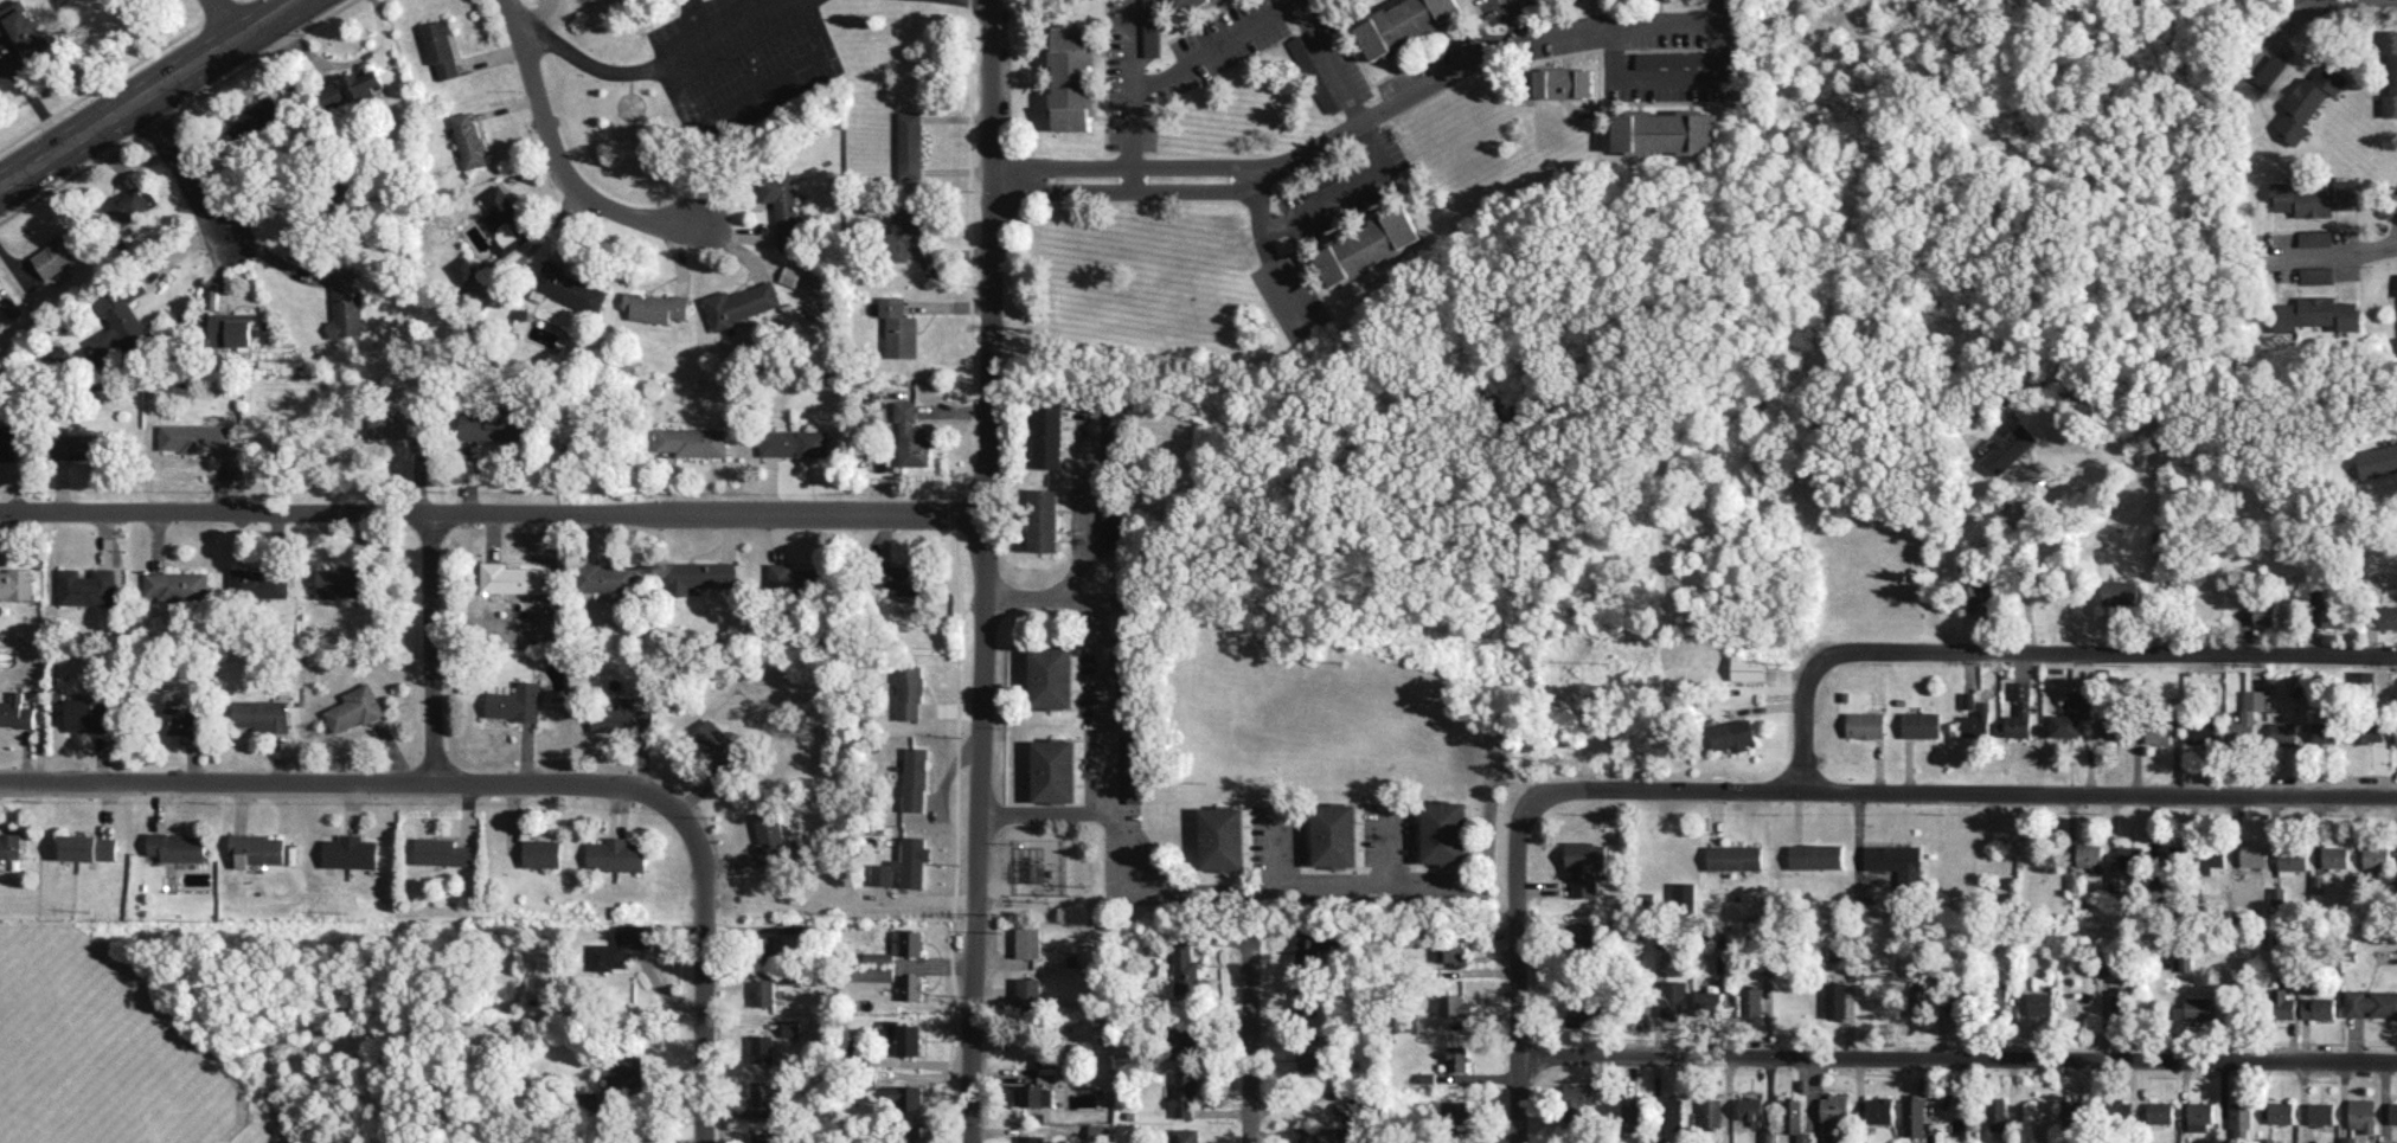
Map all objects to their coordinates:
building: (1193, 2)
road: (1718, 11)
road: (1276, 12)
road: (697, 14)
road: (222, 17)
road: (1517, 21)
building: (1405, 23)
building: (23, 27)
building: (1151, 27)
building: (440, 46)
road: (2267, 46)
building: (1668, 59)
building: (2269, 70)
building: (2390, 70)
road: (635, 72)
building: (1313, 72)
building: (1072, 77)
road: (1448, 79)
building: (1563, 82)
road: (142, 88)
building: (350, 88)
road: (1132, 91)
road: (34, 98)
building: (2307, 101)
building: (255, 118)
building: (1666, 130)
building: (469, 139)
building: (910, 143)
road: (556, 153)
road: (181, 167)
road: (1344, 188)
building: (781, 194)
building: (2314, 198)
building: (130, 206)
building: (505, 220)
building: (905, 231)
building: (2315, 237)
building: (789, 238)
building: (1367, 245)
building: (60, 251)
road: (1273, 252)
road: (2331, 252)
building: (463, 269)
building: (2316, 274)
building: (571, 287)
building: (346, 303)
building: (742, 303)
building: (0, 304)
building: (655, 306)
building: (2318, 313)
building: (121, 326)
building: (898, 327)
building: (231, 328)
building: (59, 355)
building: (493, 424)
building: (1115, 429)
building: (911, 435)
building: (193, 436)
building: (1047, 436)
building: (692, 441)
building: (794, 442)
building: (8, 443)
building: (79, 445)
building: (2010, 448)
building: (2377, 460)
road: (493, 513)
building: (1043, 519)
building: (1109, 526)
road: (2018, 566)
road: (985, 571)
building: (701, 574)
building: (795, 576)
building: (512, 577)
building: (607, 577)
building: (341, 579)
building: (906, 580)
building: (258, 583)
building: (17, 584)
building: (178, 584)
building: (88, 586)
building: (2120, 591)
road: (1030, 597)
building: (2329, 609)
building: (2264, 614)
building: (2383, 617)
road: (434, 648)
road: (2039, 650)
building: (1748, 668)
building: (1050, 675)
building: (2363, 676)
building: (910, 691)
building: (515, 701)
building: (354, 707)
building: (14, 711)
building: (2019, 711)
building: (261, 713)
building: (89, 714)
building: (1975, 715)
building: (2071, 715)
building: (2248, 715)
building: (621, 717)
building: (182, 719)
building: (1865, 724)
building: (1921, 724)
building: (2114, 726)
building: (2201, 727)
road: (1103, 731)
building: (2325, 731)
building: (2369, 731)
building: (2283, 732)
building: (1732, 733)
building: (2159, 733)
building: (2396, 733)
building: (717, 744)
building: (1053, 770)
building: (1134, 770)
building: (916, 778)
road: (511, 784)
road: (1961, 795)
road: (1045, 810)
building: (1443, 831)
building: (1334, 834)
building: (770, 837)
building: (1222, 837)
road: (1387, 843)
building: (11, 846)
building: (177, 846)
building: (88, 847)
building: (257, 848)
road: (1277, 848)
building: (351, 850)
building: (443, 850)
building: (541, 852)
building: (617, 854)
building: (2089, 854)
building: (2171, 854)
building: (2254, 854)
building: (1815, 855)
building: (2335, 855)
building: (2376, 855)
building: (1735, 856)
building: (2130, 856)
building: (2211, 859)
building: (1896, 860)
building: (2292, 860)
building: (905, 863)
building: (1585, 865)
building: (2238, 880)
building: (1684, 897)
building: (1027, 942)
building: (1583, 943)
building: (621, 945)
building: (777, 945)
building: (898, 946)
building: (1312, 948)
building: (1456, 949)
building: (1839, 957)
building: (1723, 962)
building: (1951, 962)
building: (2185, 962)
building: (1185, 968)
building: (873, 972)
road: (1518, 974)
building: (791, 977)
building: (911, 987)
building: (1028, 991)
building: (763, 993)
building: (1673, 997)
building: (1999, 997)
building: (1835, 998)
building: (1750, 1001)
building: (1916, 1001)
building: (1710, 1002)
building: (2040, 1002)
building: (2371, 1002)
building: (1306, 1003)
building: (2281, 1003)
building: (1455, 1004)
building: (2318, 1007)
building: (2193, 1008)
building: (1578, 1015)
building: (791, 1027)
road: (1249, 1028)
building: (905, 1036)
building: (1183, 1041)
building: (763, 1047)
building: (1308, 1055)
road: (1959, 1055)
building: (1457, 1057)
building: (627, 1072)
building: (1040, 1091)
building: (764, 1093)
building: (1184, 1093)
building: (908, 1096)
building: (1576, 1099)
building: (1880, 1109)
building: (2121, 1109)
building: (1350, 1110)
building: (1711, 1110)
building: (1751, 1110)
building: (1455, 1111)
building: (1673, 1111)
building: (2079, 1111)
building: (2159, 1111)
building: (2281, 1111)
building: (2321, 1112)
building: (2393, 1112)
building: (1995, 1113)
building: (2363, 1113)
building: (1912, 1115)
building: (2199, 1115)
building: (1833, 1116)
building: (1632, 1117)
building: (2241, 1118)
building: (1794, 1119)
building: (1100, 1132)
building: (1183, 1135)
building: (1352, 1135)
building: (1767, 1135)
building: (764, 1137)
building: (1032, 1138)
building: (1309, 1138)
building: (2348, 1138)
building: (2389, 1141)
building: (906, 1142)

